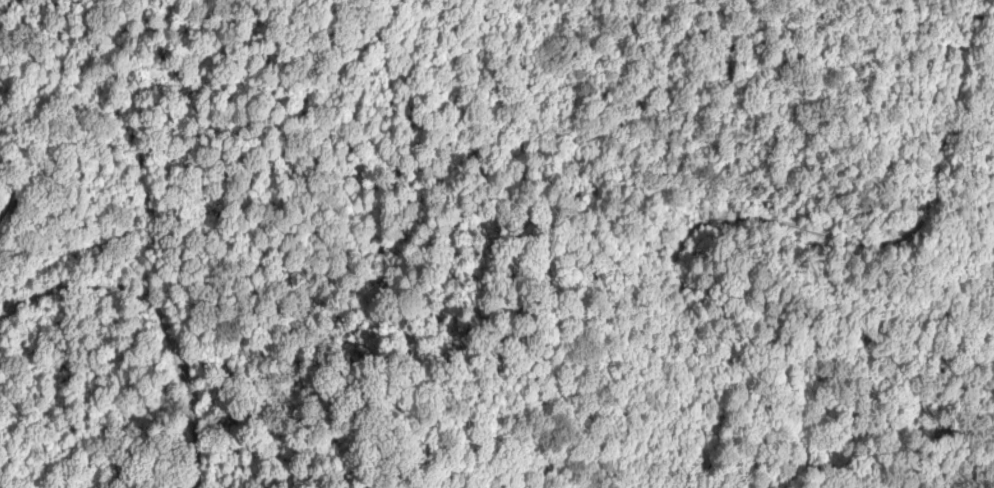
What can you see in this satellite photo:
road: (792, 227)

